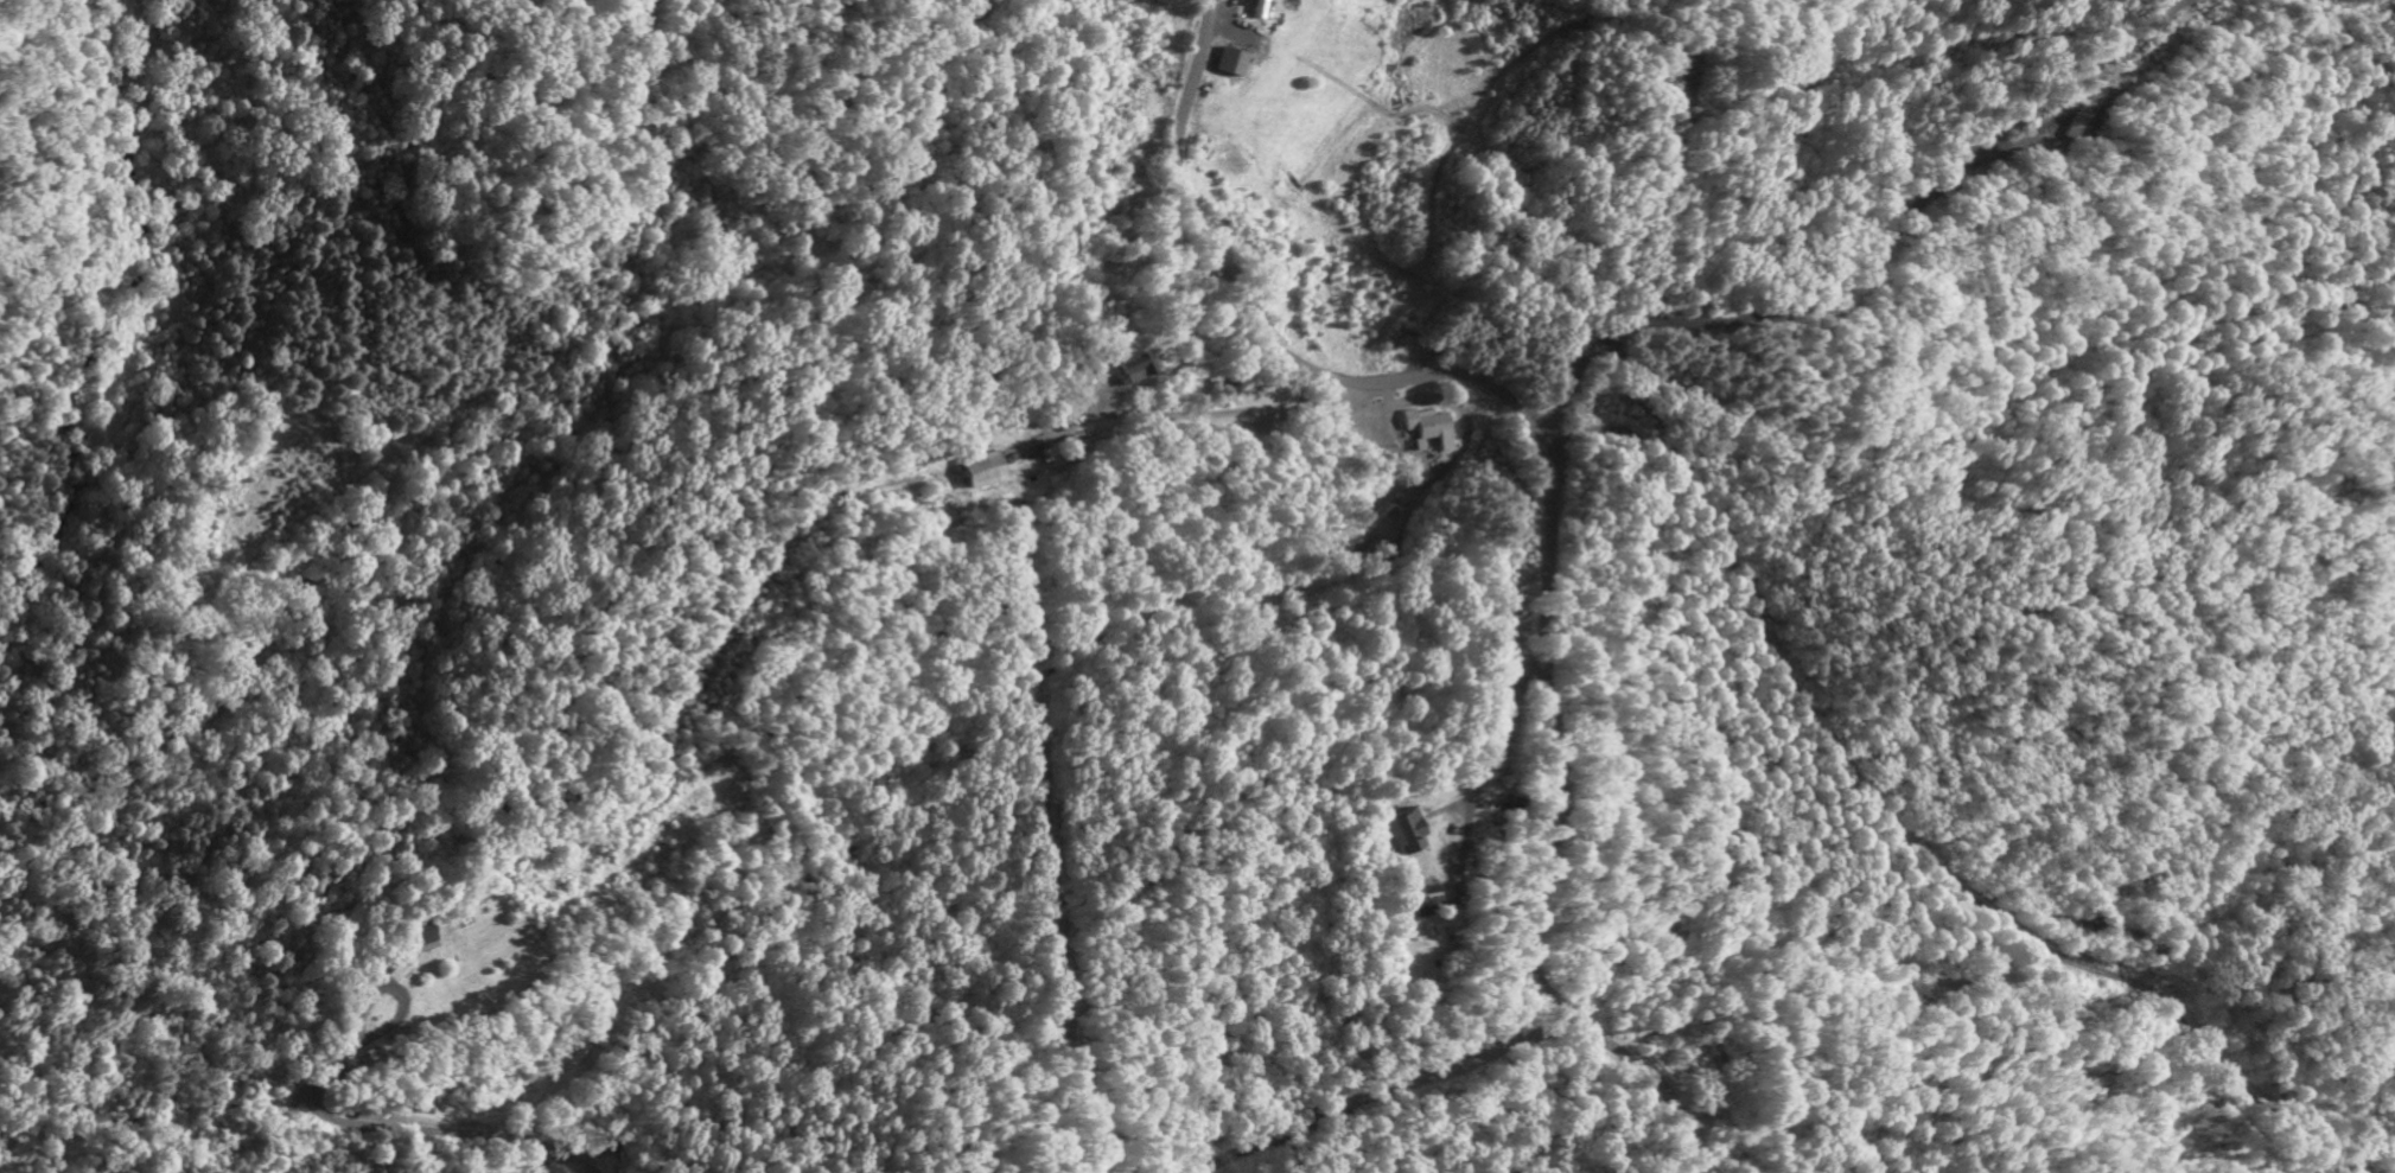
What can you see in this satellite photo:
building: (1255, 9)
building: (1247, 51)
building: (2077, 120)
building: (1136, 371)
road: (1186, 414)
building: (1432, 431)
building: (981, 473)
road: (1542, 499)
road: (1493, 744)
building: (1404, 836)
building: (1427, 905)
building: (426, 944)

